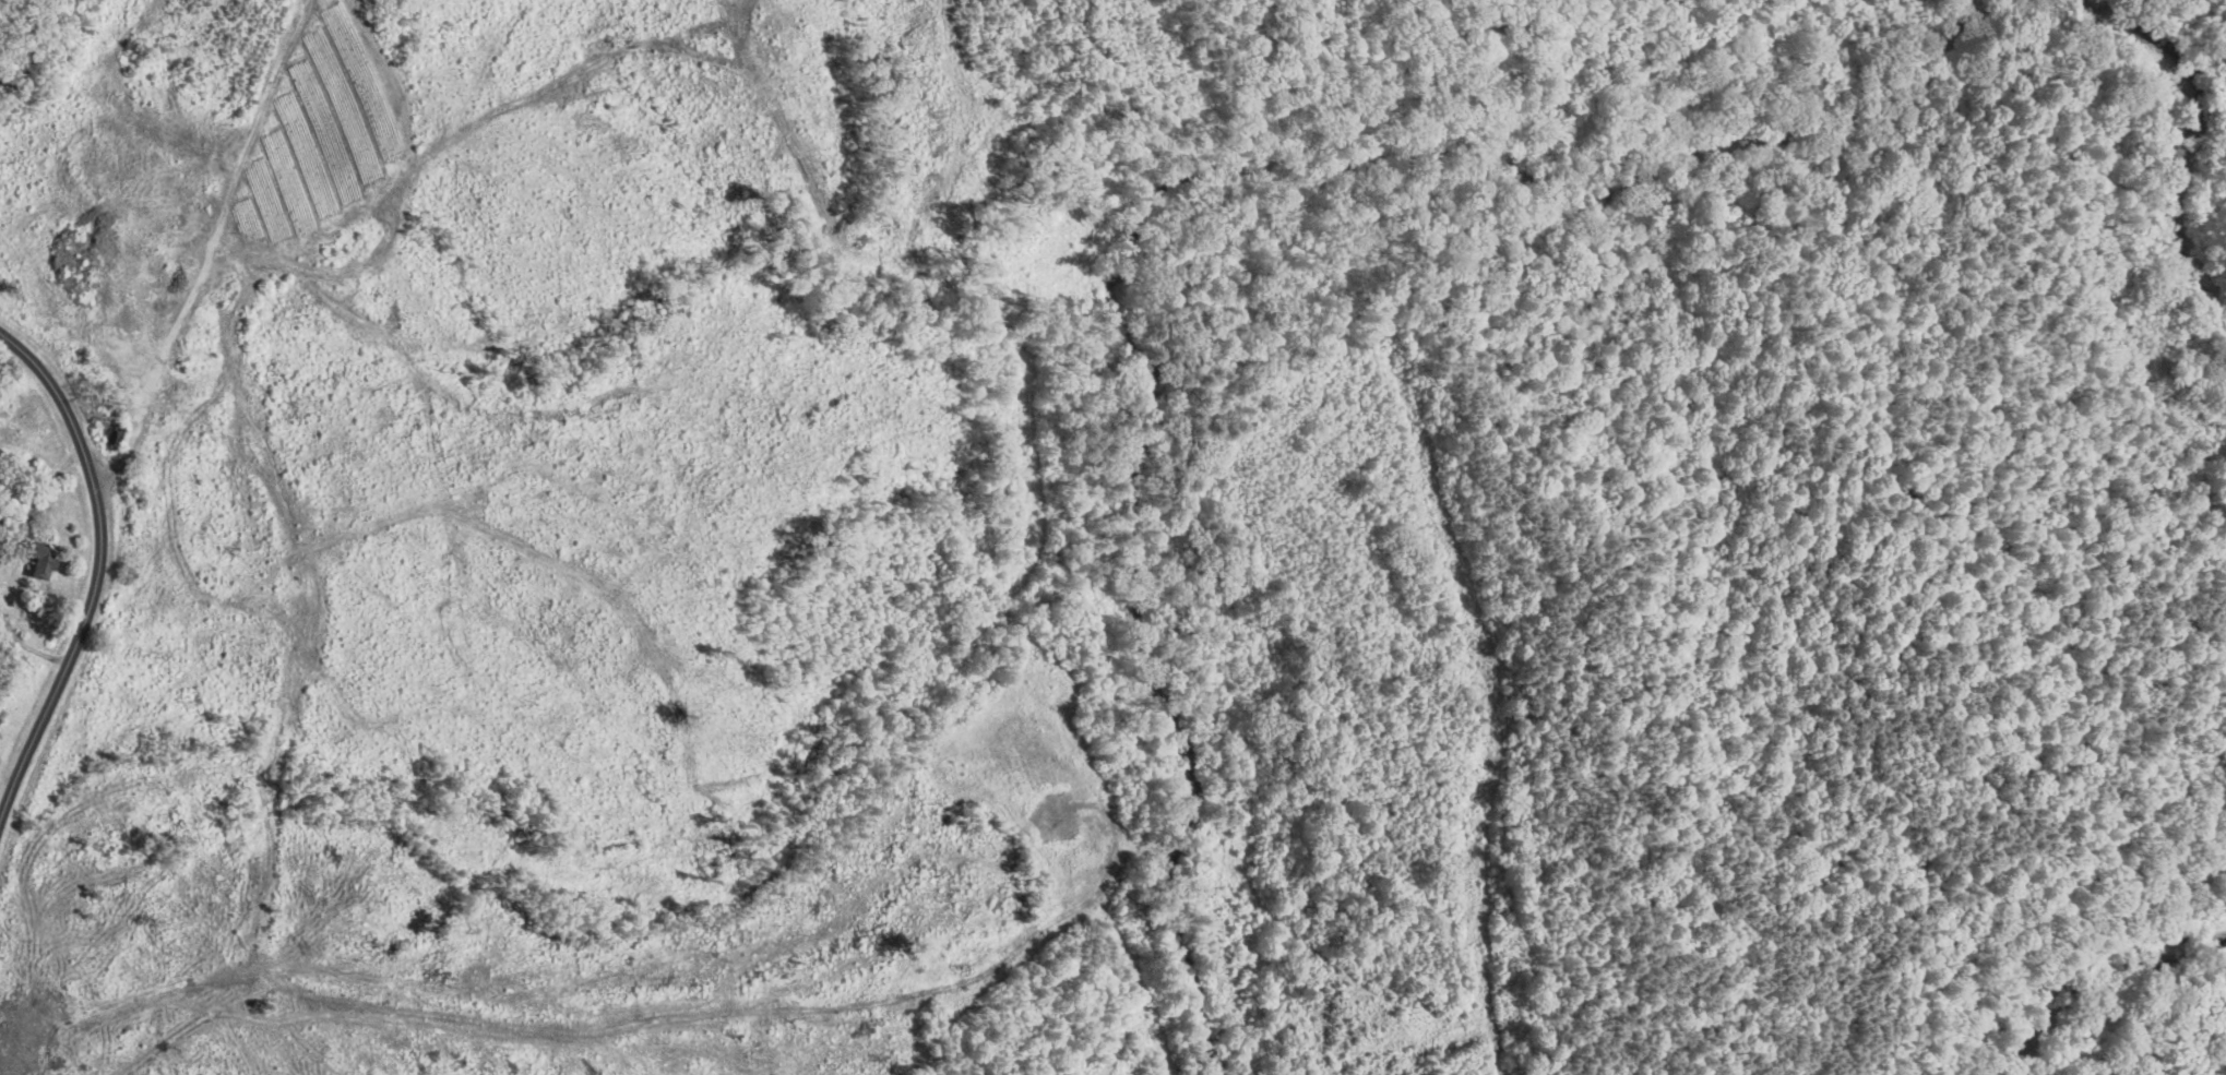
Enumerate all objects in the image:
road: (213, 250)
building: (32, 559)
road: (98, 570)

